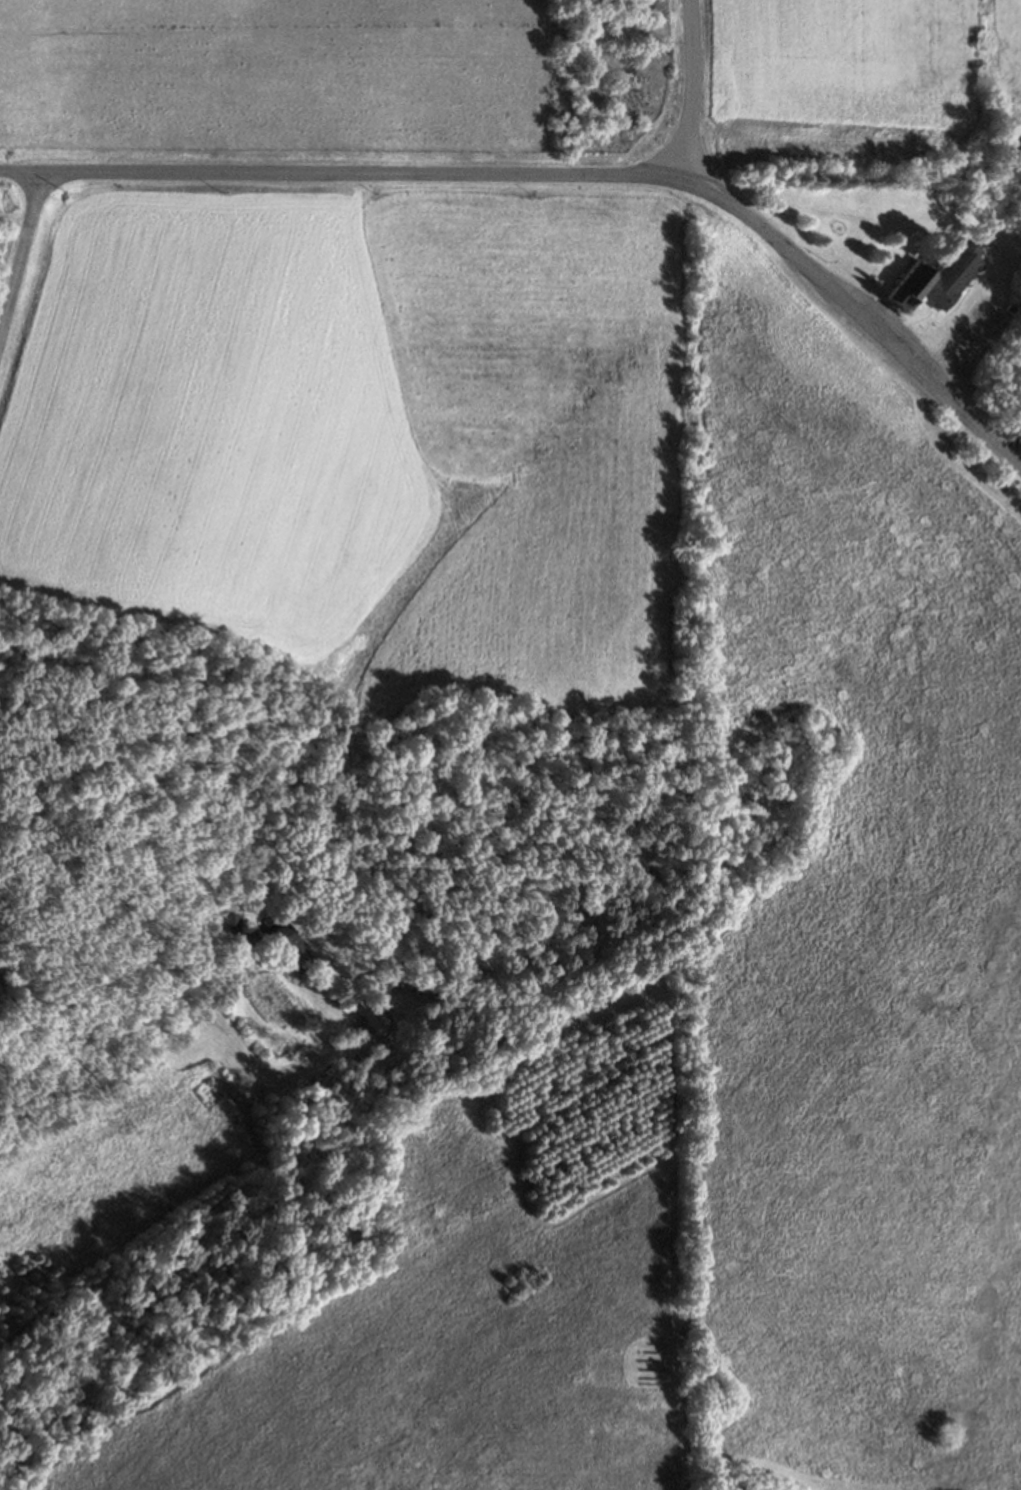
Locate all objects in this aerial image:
road: (688, 90)
road: (565, 175)
road: (21, 255)
building: (934, 277)
parking lot: (963, 331)
road: (968, 350)
road: (1012, 444)
building: (231, 919)
building: (284, 934)
building: (406, 986)
building: (374, 1012)
road: (134, 1065)
road: (264, 1066)

